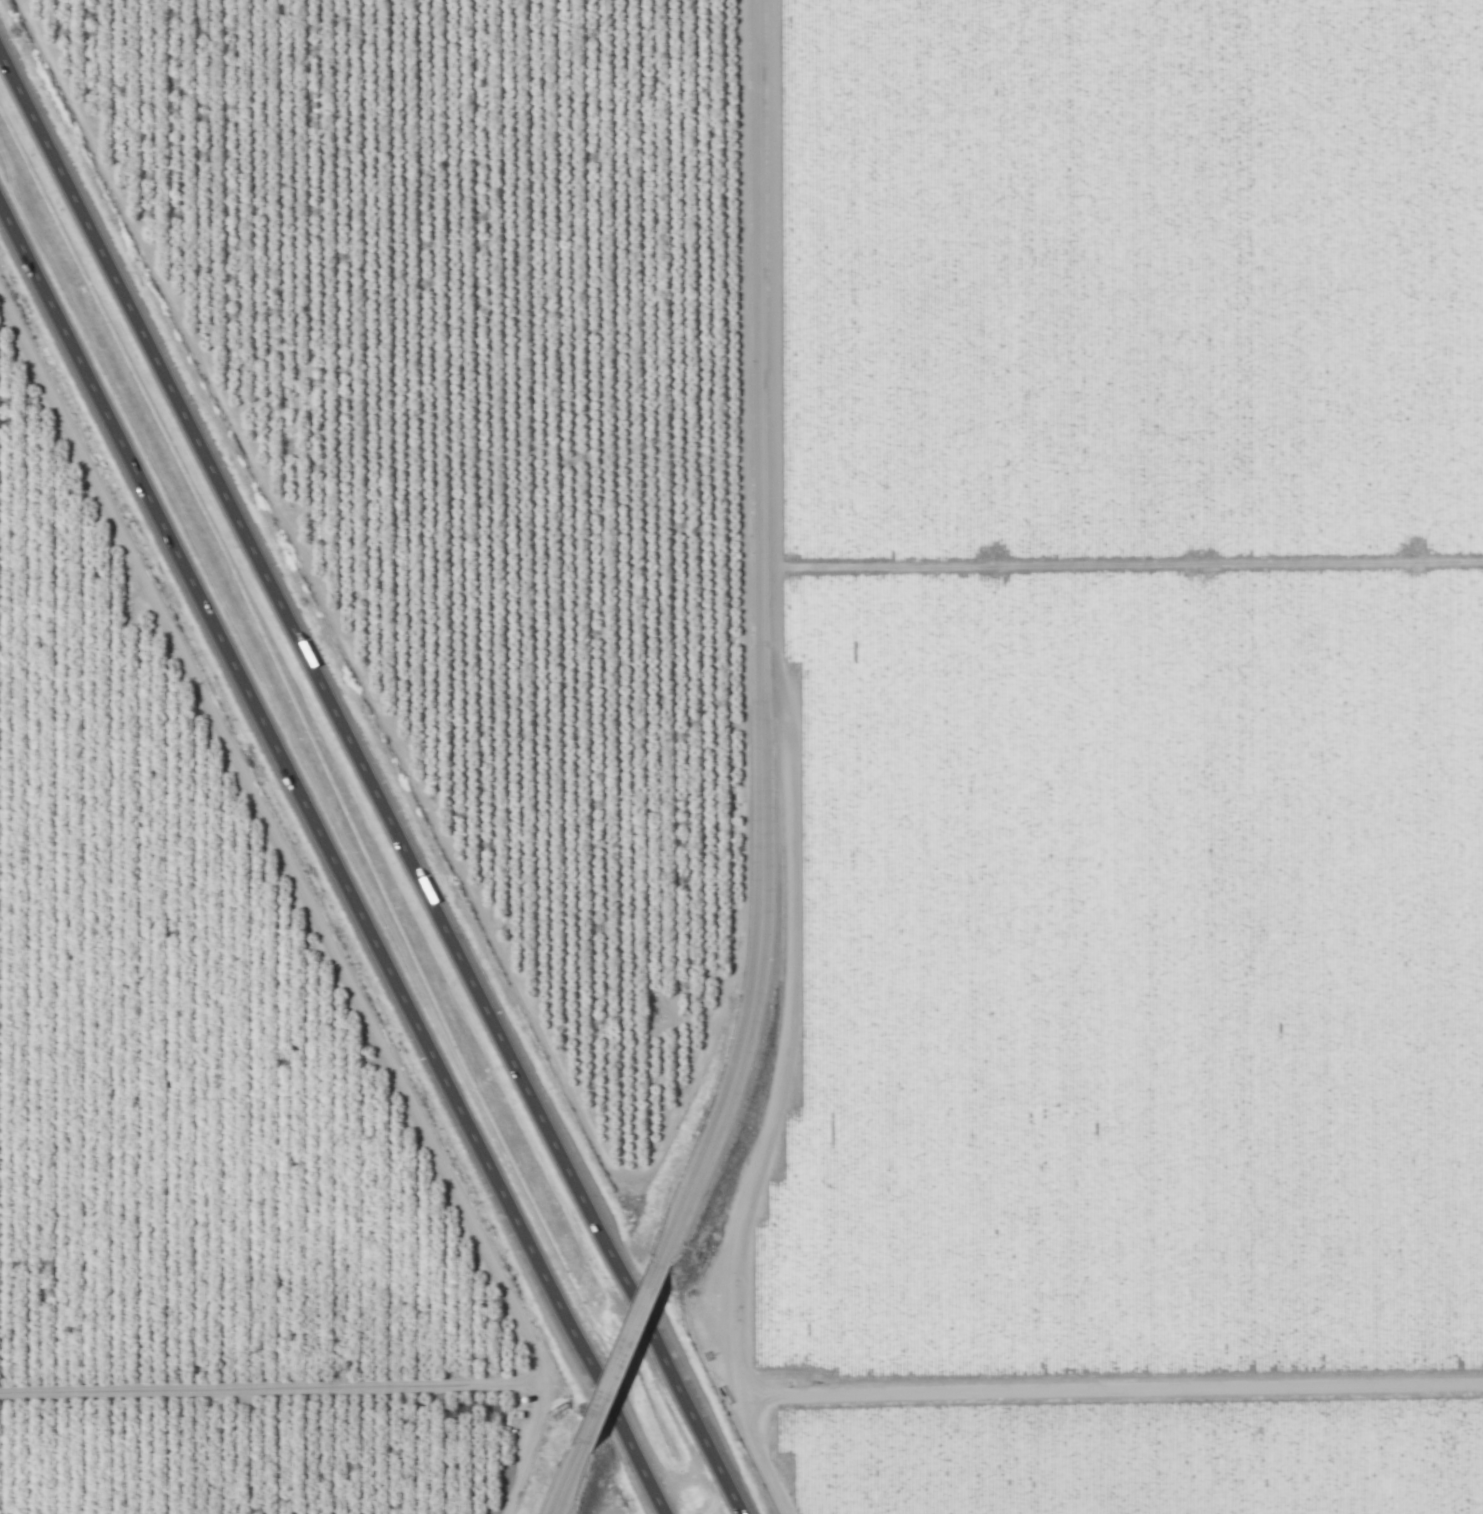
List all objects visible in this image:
road: (756, 641)
crop: (1115, 767)
road: (374, 777)
road: (330, 865)
road: (623, 1361)
road: (570, 1485)
crop: (605, 1505)

